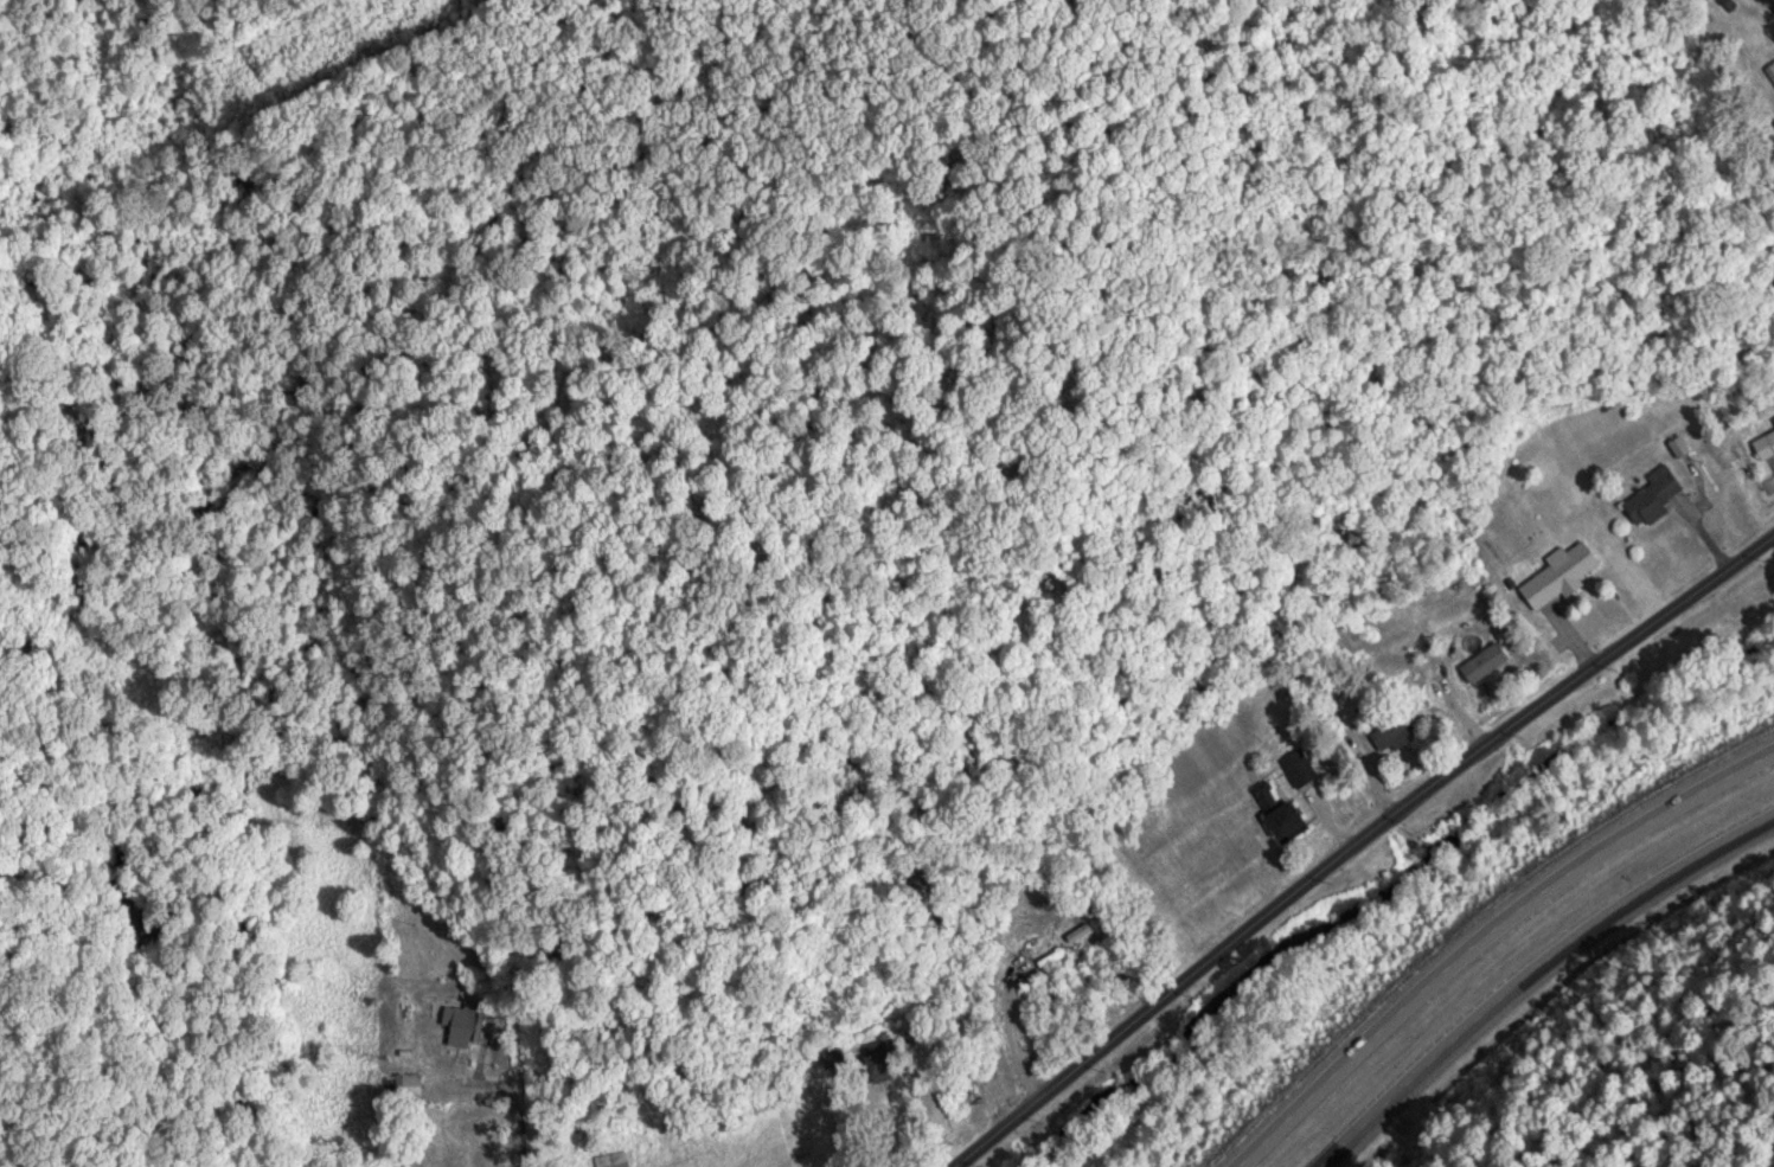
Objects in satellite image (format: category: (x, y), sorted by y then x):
road: (1772, 1)
building: (1769, 70)
building: (1762, 443)
building: (1647, 495)
building: (1554, 572)
building: (1478, 661)
building: (1385, 733)
building: (1294, 765)
building: (1272, 812)
road: (1356, 841)
road: (1481, 930)
road: (483, 936)
road: (1529, 970)
building: (459, 1020)
building: (831, 1053)
building: (873, 1064)
building: (412, 1082)
building: (565, 1150)
building: (613, 1163)

